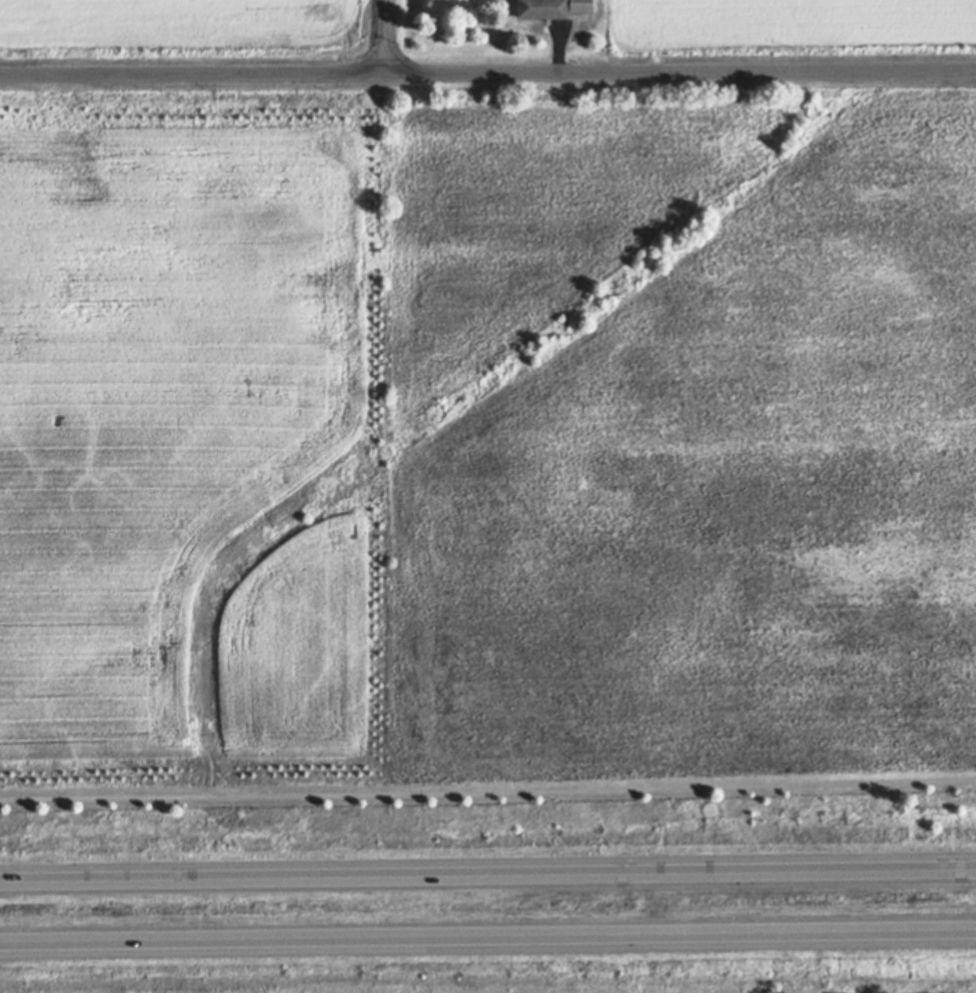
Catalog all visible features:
building: (546, 7)
road: (386, 36)
road: (558, 50)
road: (488, 73)
road: (487, 793)
road: (488, 876)
road: (488, 932)

